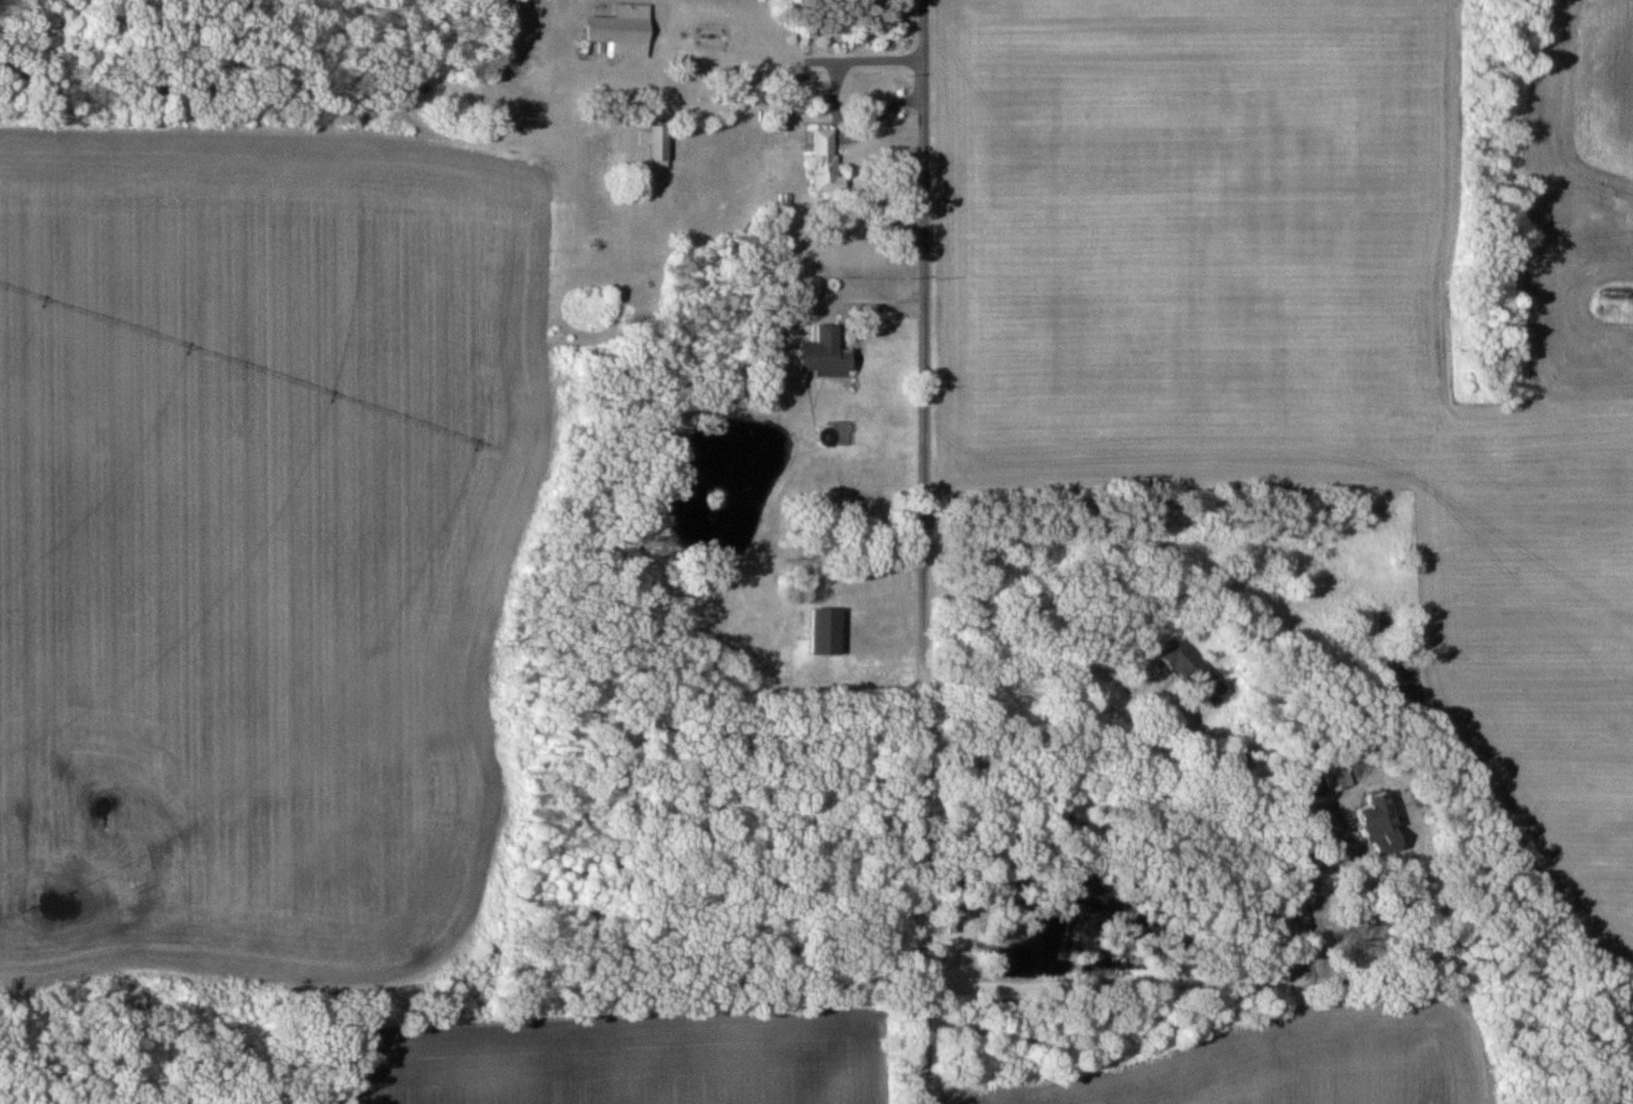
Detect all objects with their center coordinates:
building: (616, 30)
building: (712, 38)
building: (656, 145)
building: (824, 160)
building: (821, 350)
road: (918, 551)
building: (823, 631)
road: (1038, 637)
building: (1186, 667)
building: (1379, 808)
road: (1181, 977)

